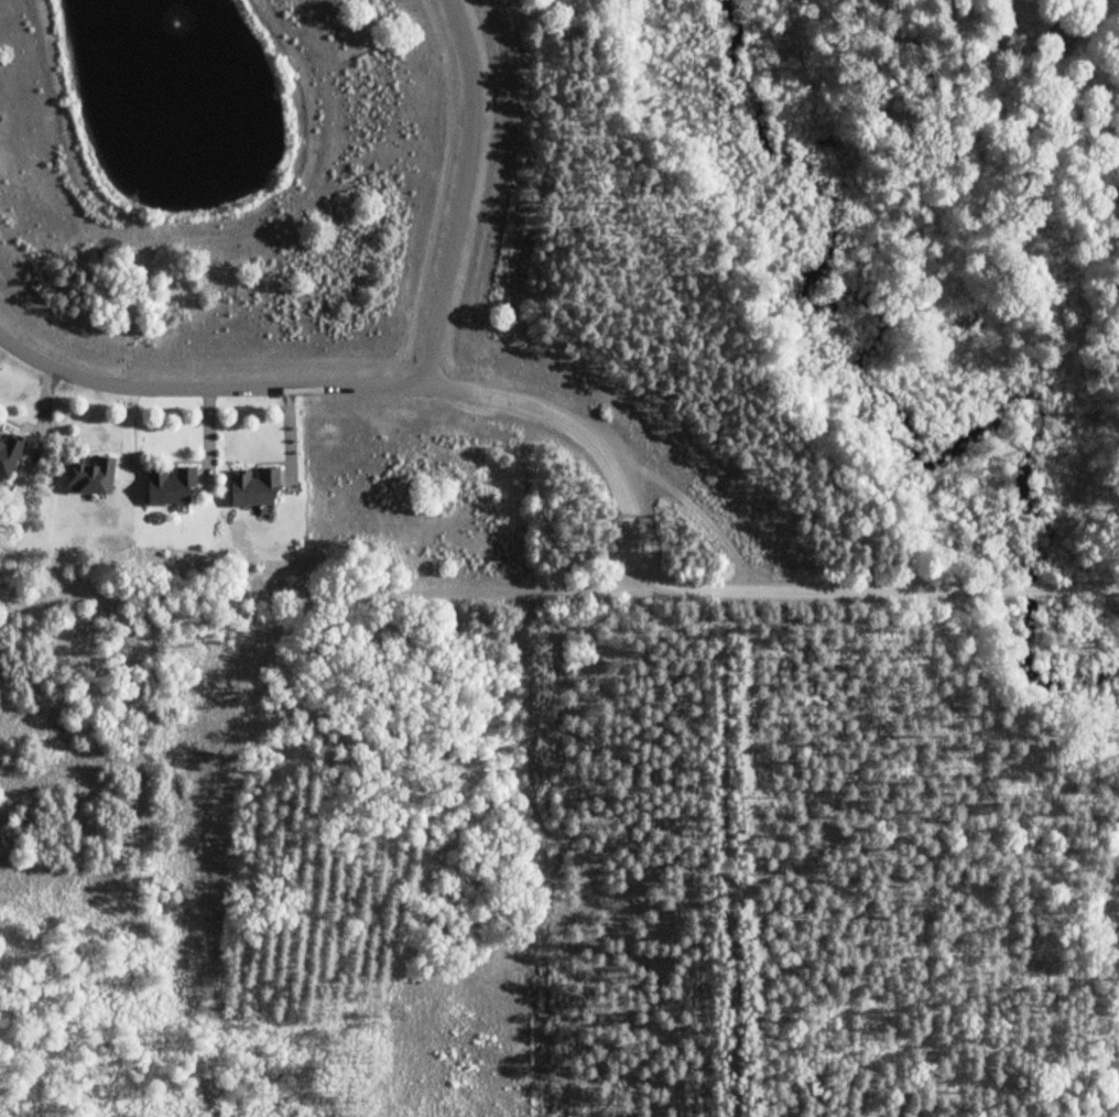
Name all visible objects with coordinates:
road: (465, 194)
road: (366, 388)
building: (11, 454)
building: (95, 475)
building: (173, 486)
building: (257, 488)
road: (558, 594)

